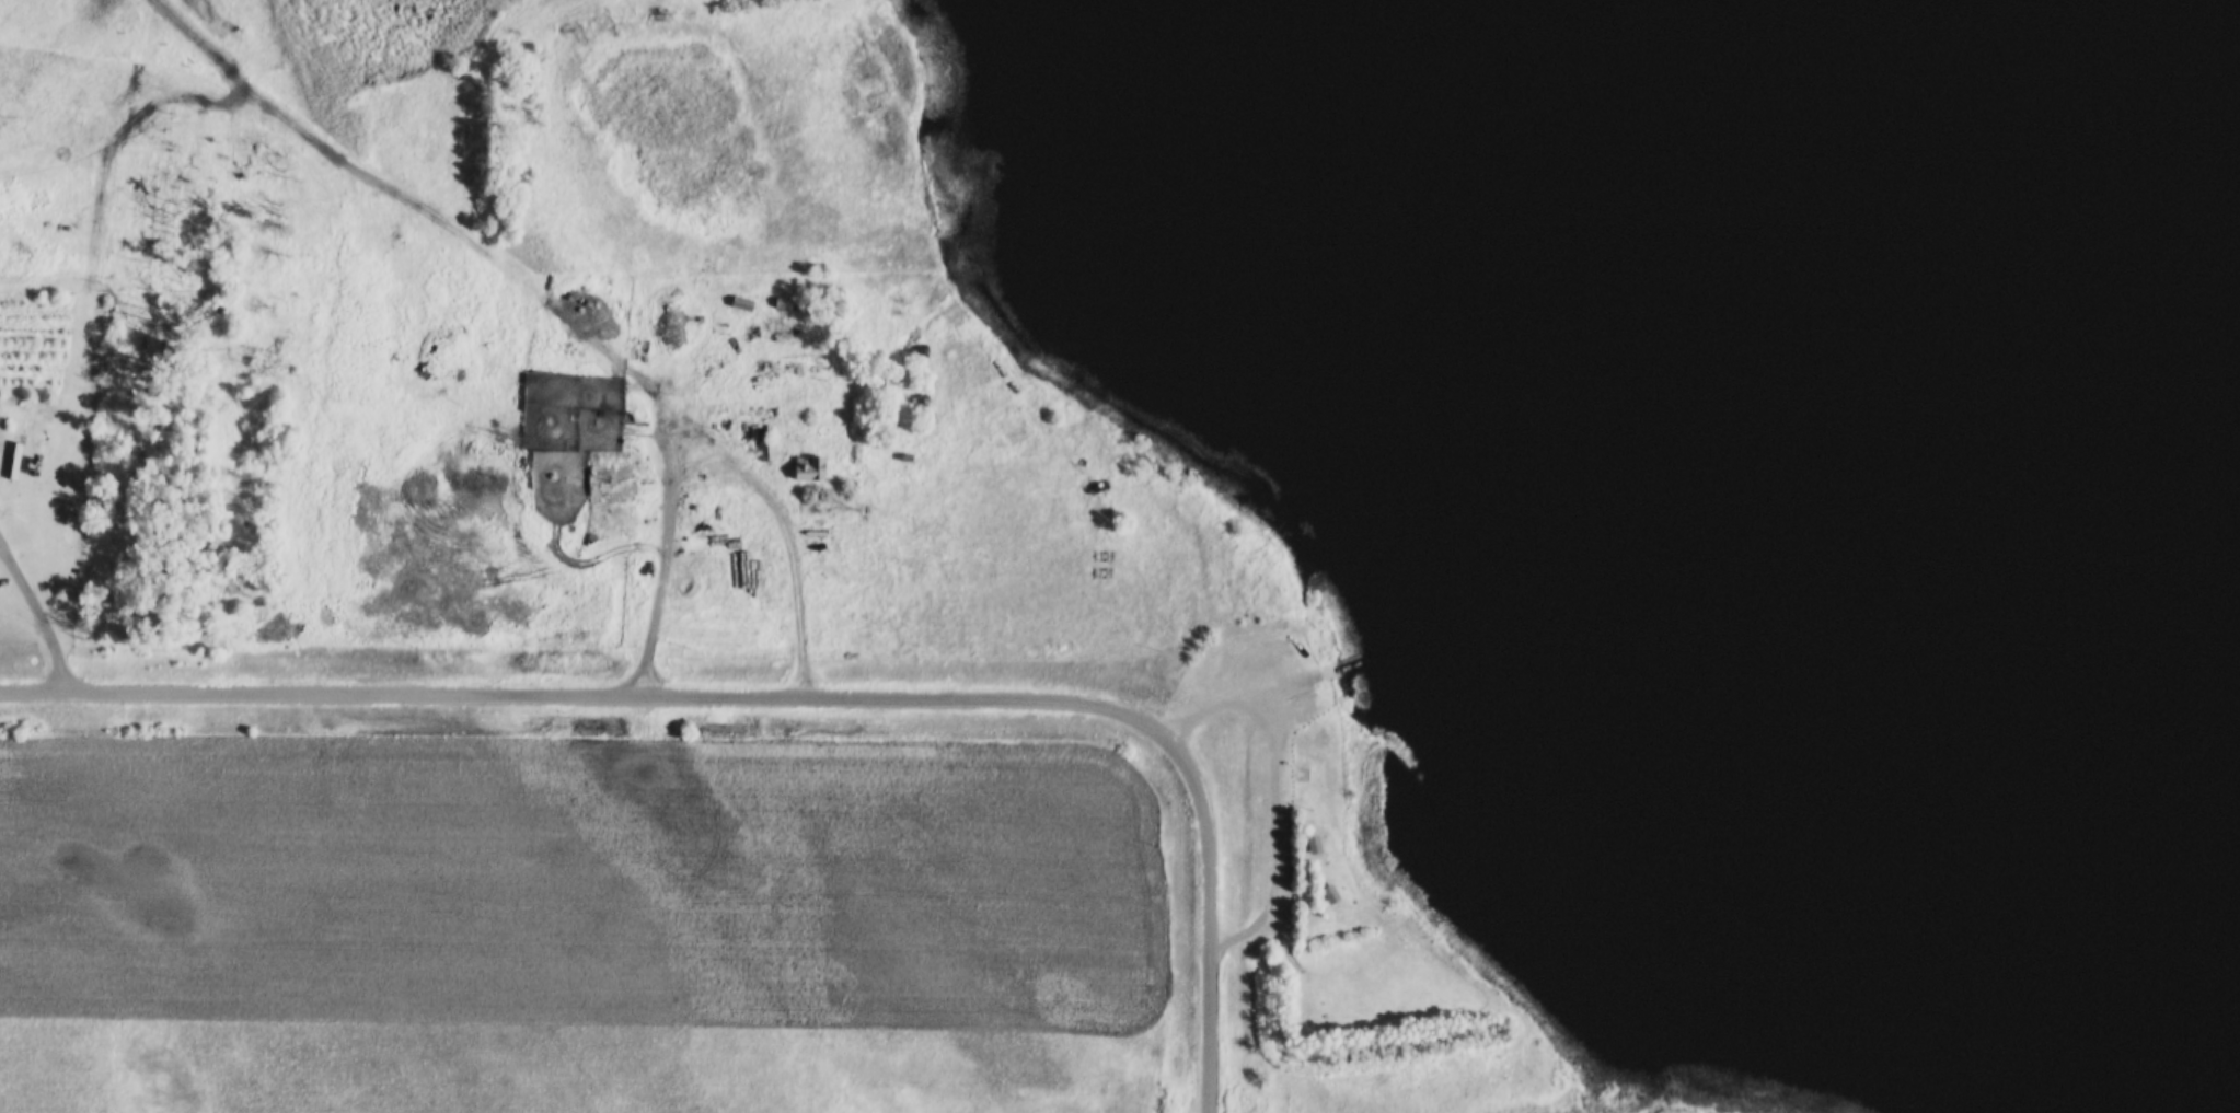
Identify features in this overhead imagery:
road: (449, 223)
road: (728, 473)
road: (35, 616)
building: (1329, 672)
road: (1281, 676)
road: (589, 694)
building: (1292, 765)
road: (1272, 797)
building: (1305, 834)
building: (1309, 845)
park: (1314, 857)
building: (1321, 884)
building: (1326, 895)
road: (1204, 919)

